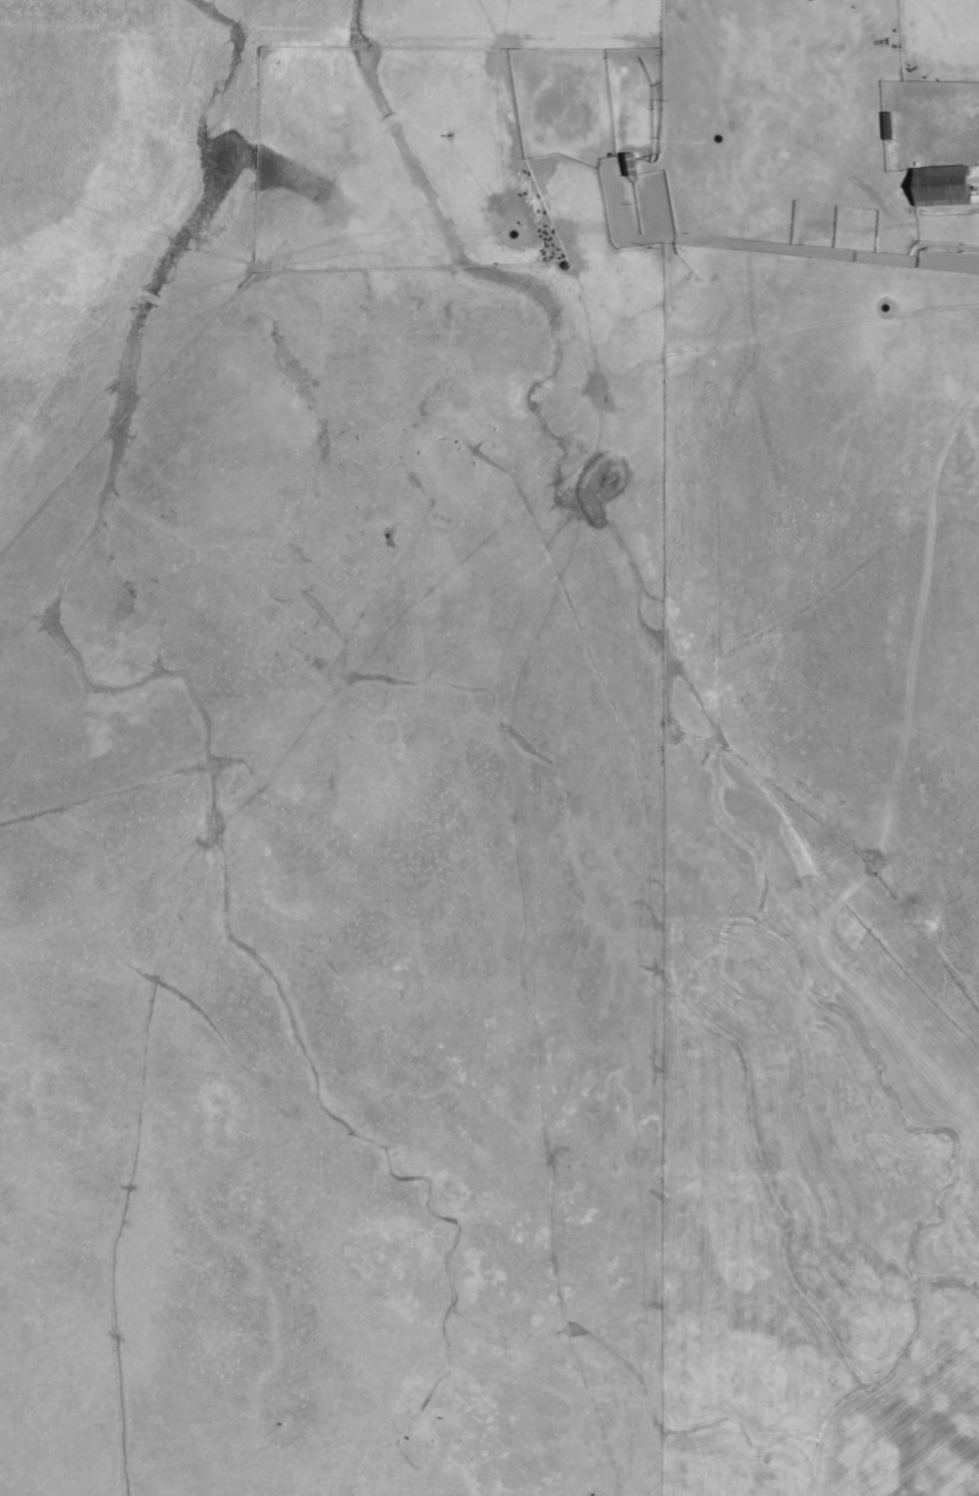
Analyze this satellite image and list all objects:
building: (936, 185)
crop: (489, 748)

